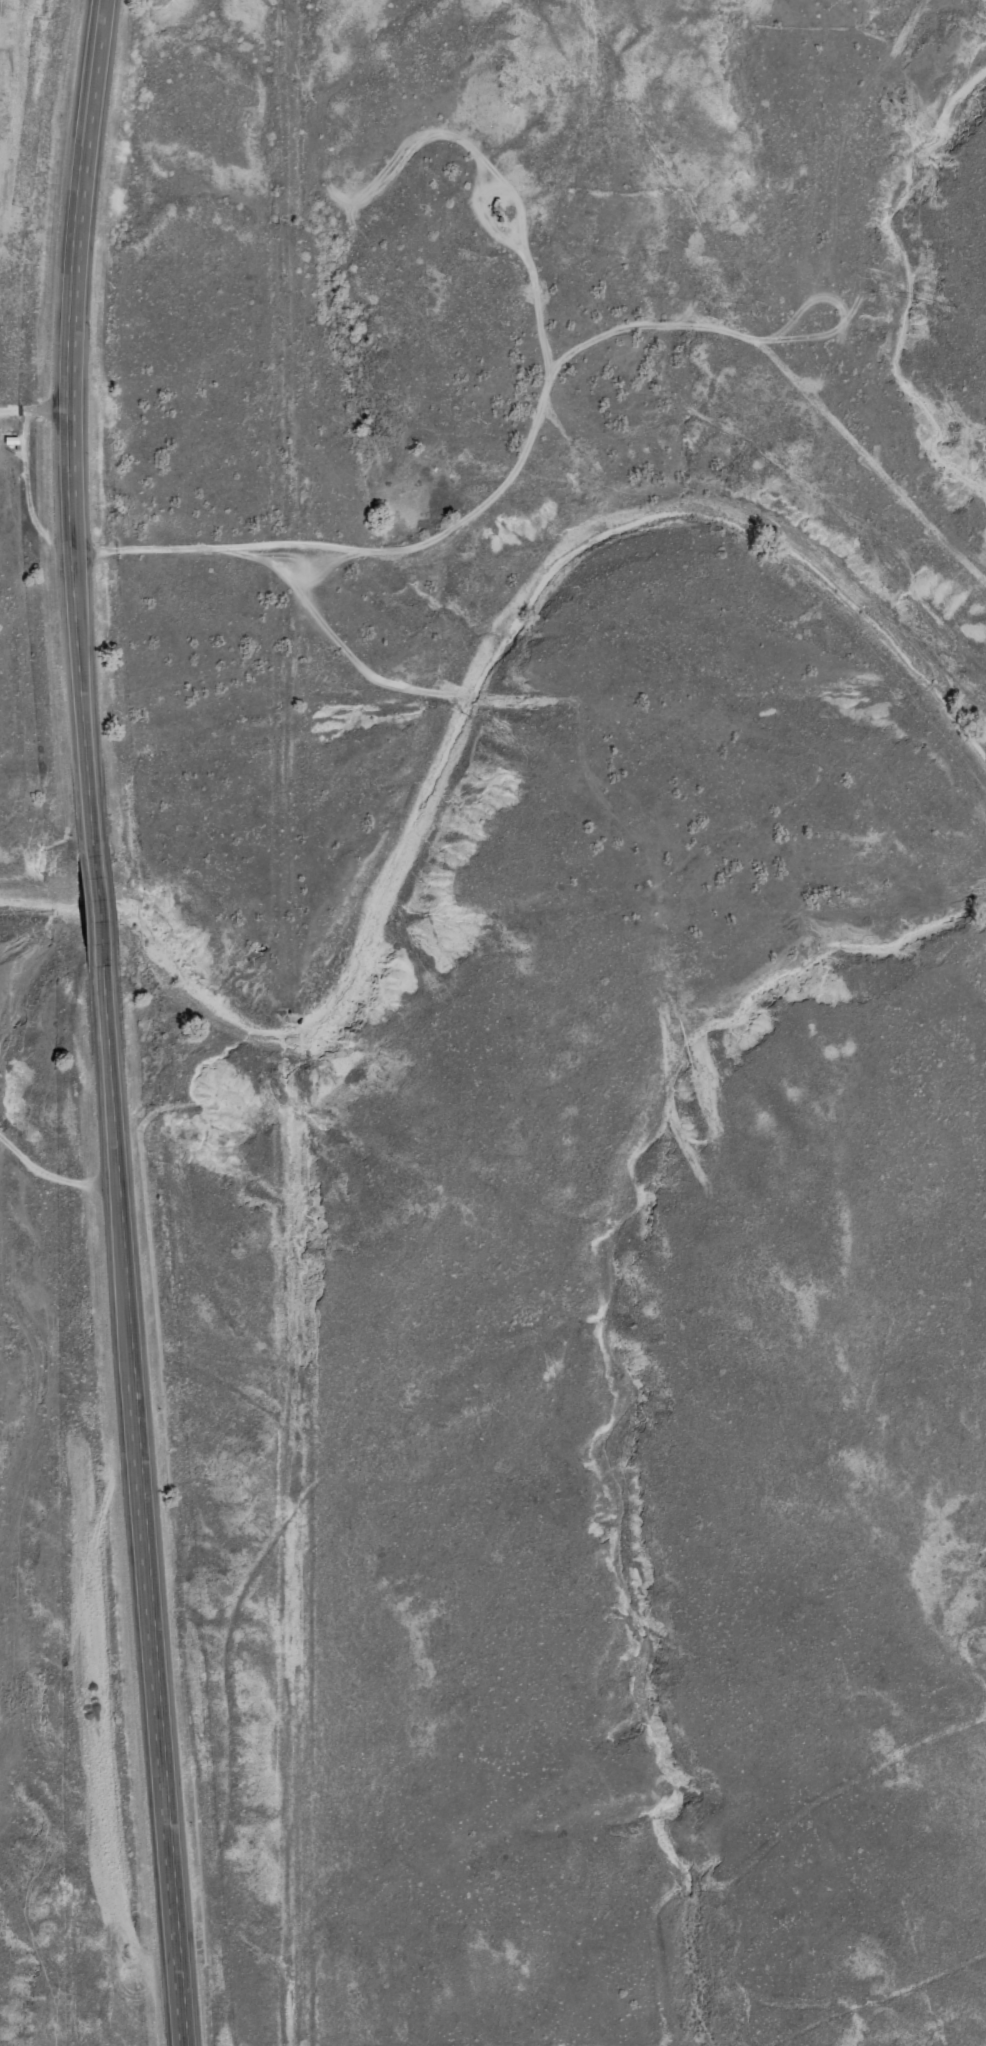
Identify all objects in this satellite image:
road: (564, 388)
road: (70, 426)
river: (472, 718)
road: (99, 915)
road: (145, 1511)

